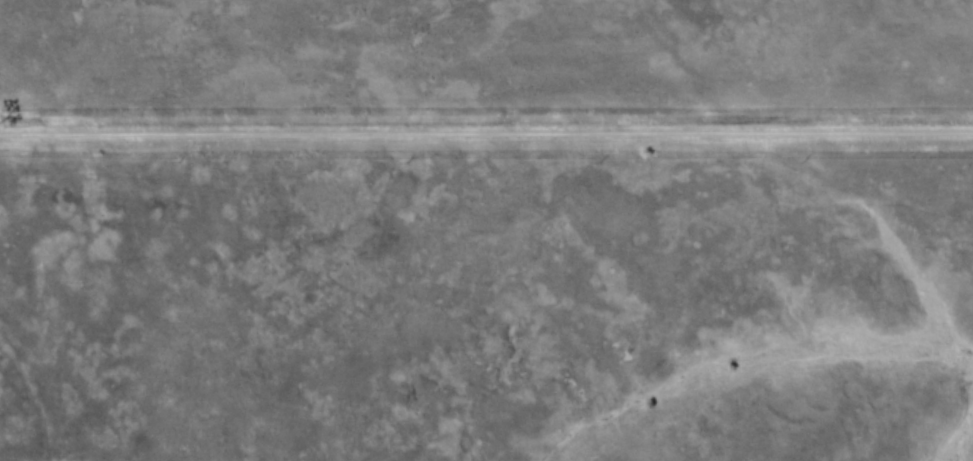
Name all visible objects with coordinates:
road: (486, 141)

